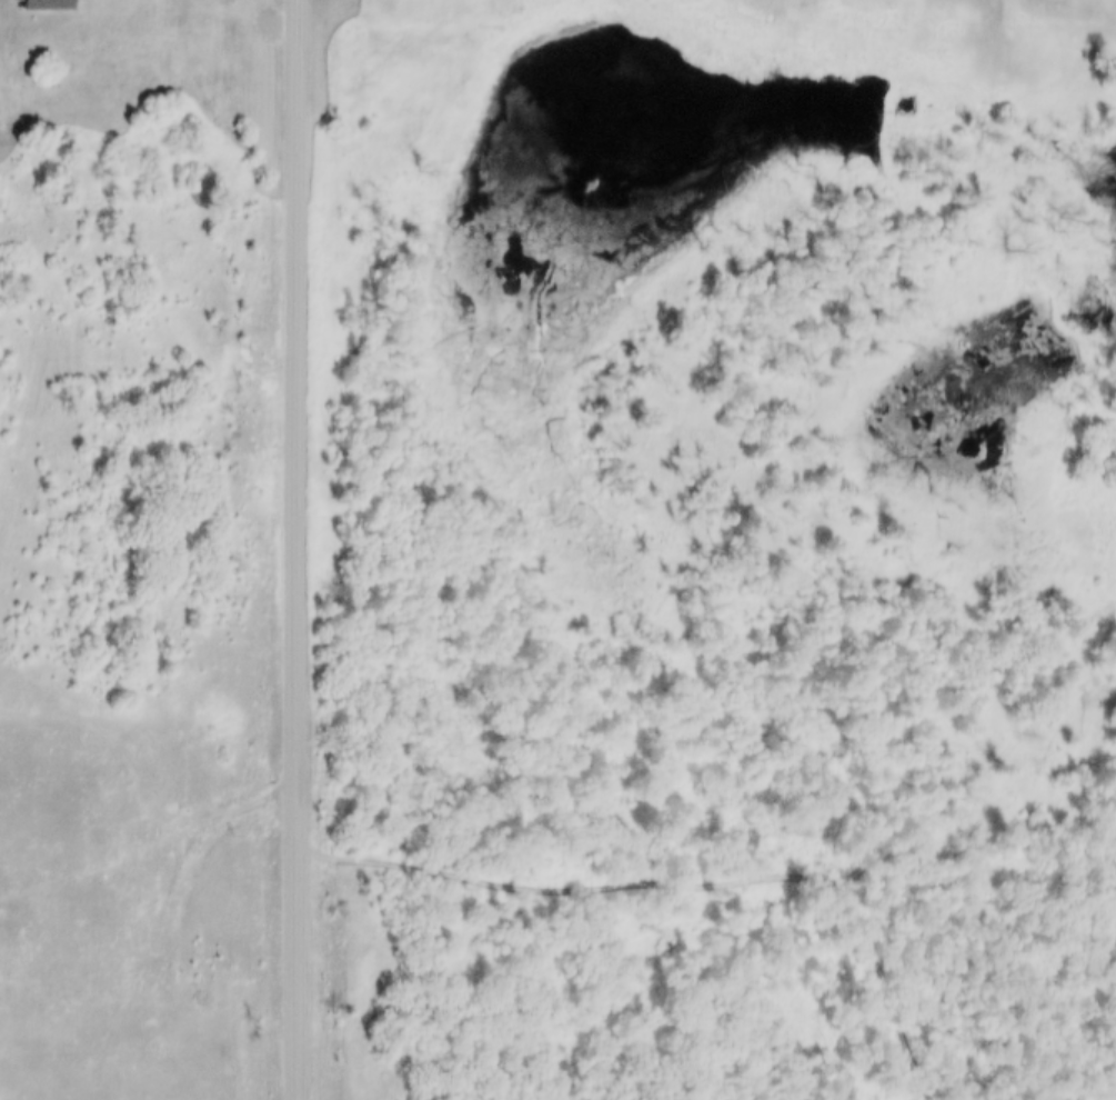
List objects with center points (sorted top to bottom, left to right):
building: (47, 6)
road: (294, 550)
road: (188, 848)

